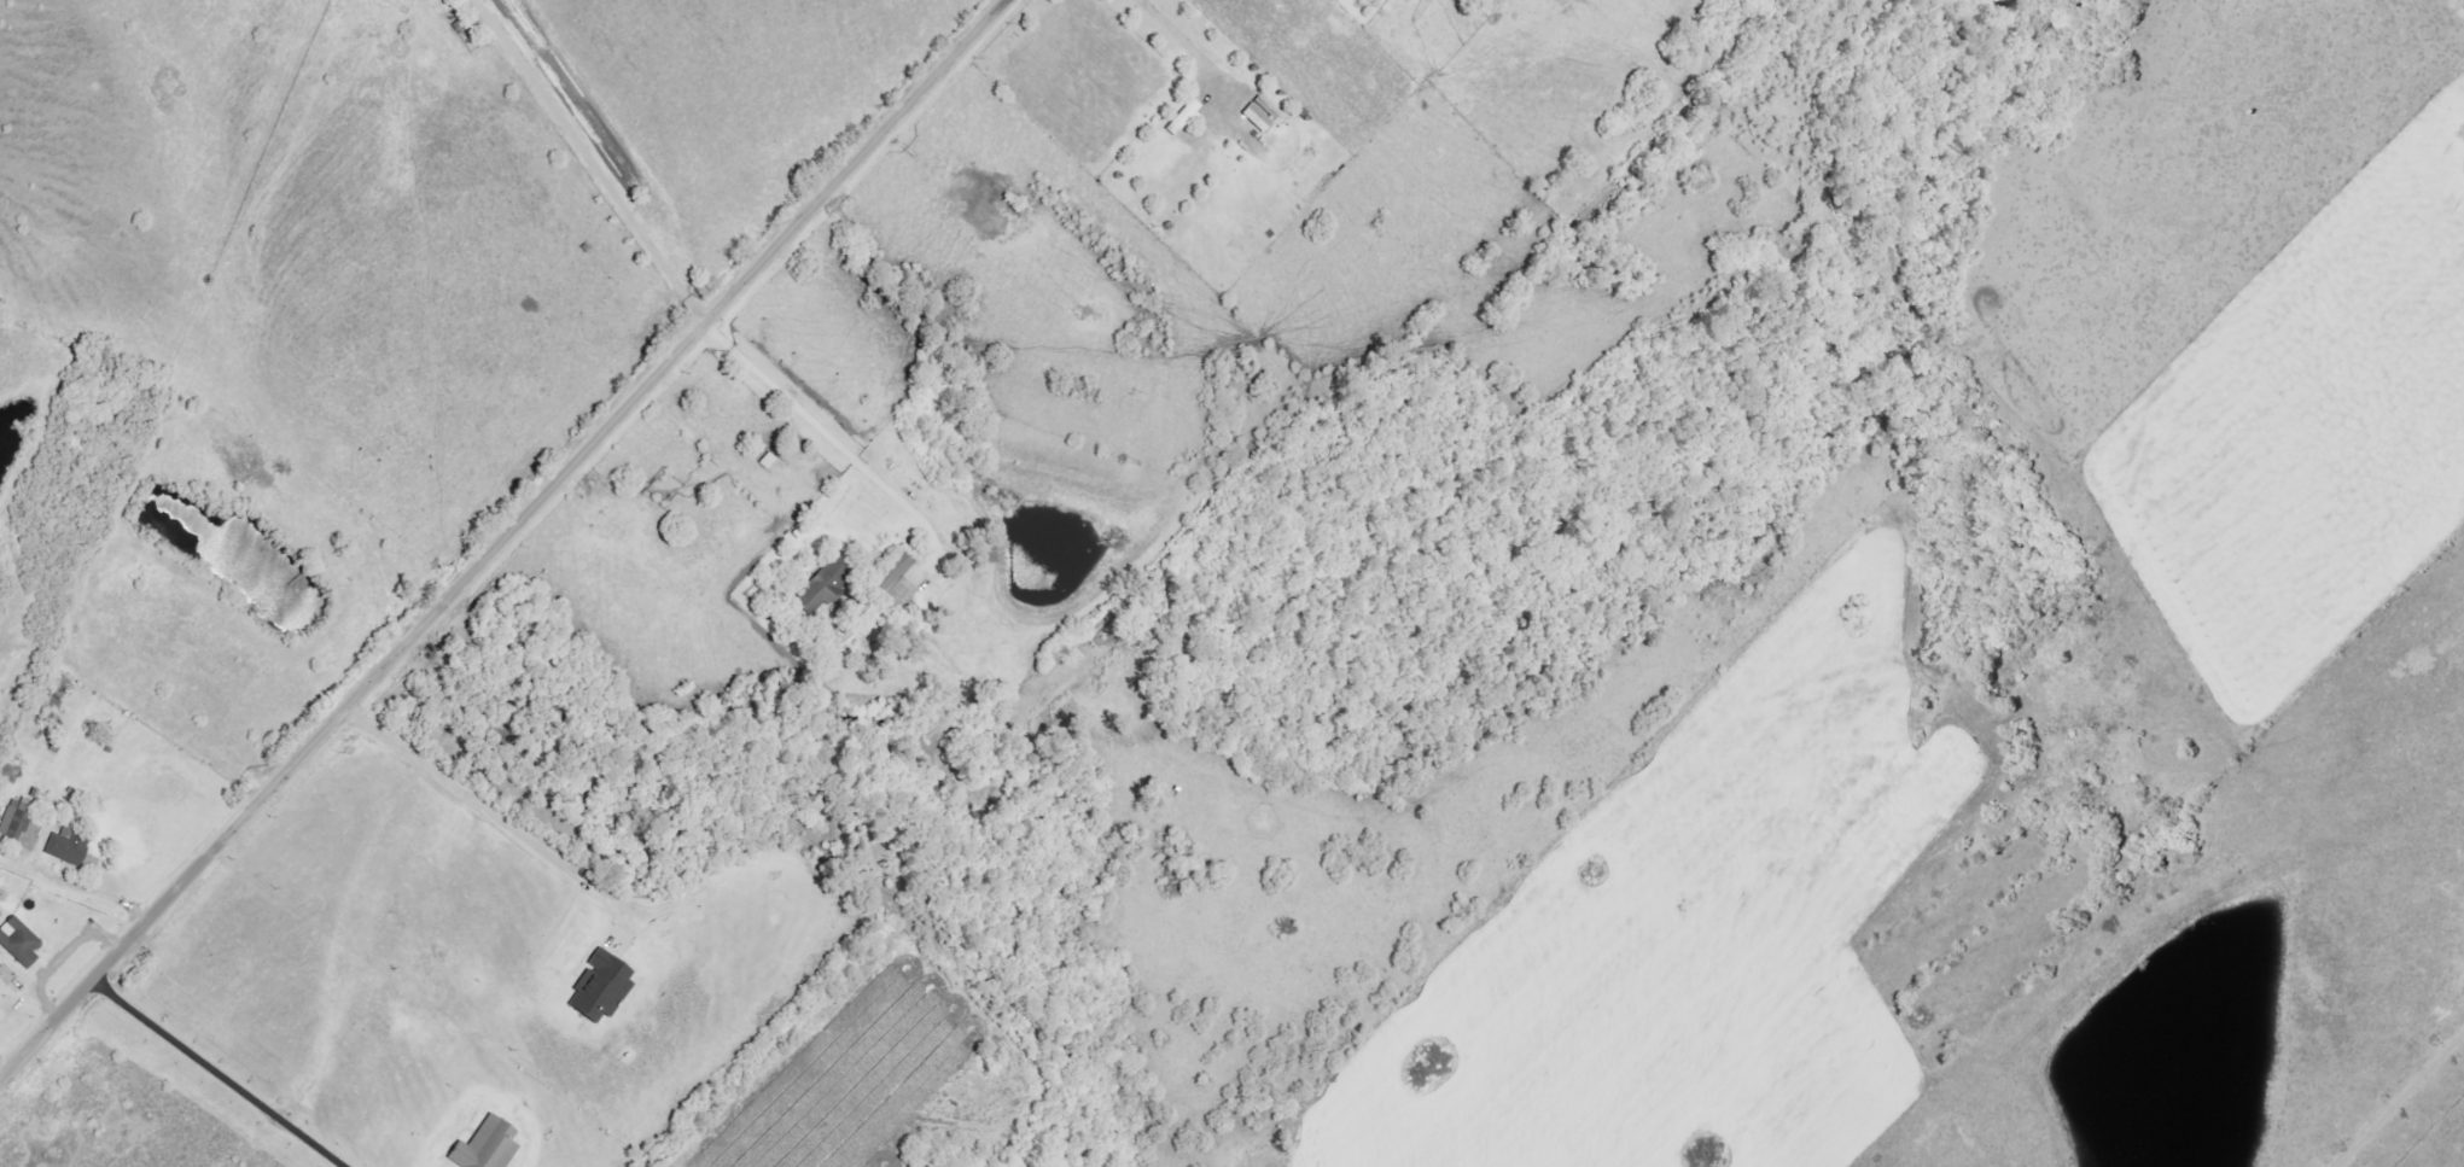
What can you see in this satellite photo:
road: (1178, 40)
building: (1258, 113)
building: (1182, 117)
road: (587, 163)
road: (827, 442)
road: (501, 536)
building: (989, 552)
building: (898, 583)
building: (817, 589)
building: (8, 816)
road: (489, 818)
building: (30, 836)
building: (68, 846)
road: (89, 893)
building: (18, 940)
road: (59, 961)
building: (599, 987)
road: (212, 1075)
road: (2411, 1113)
building: (484, 1148)

